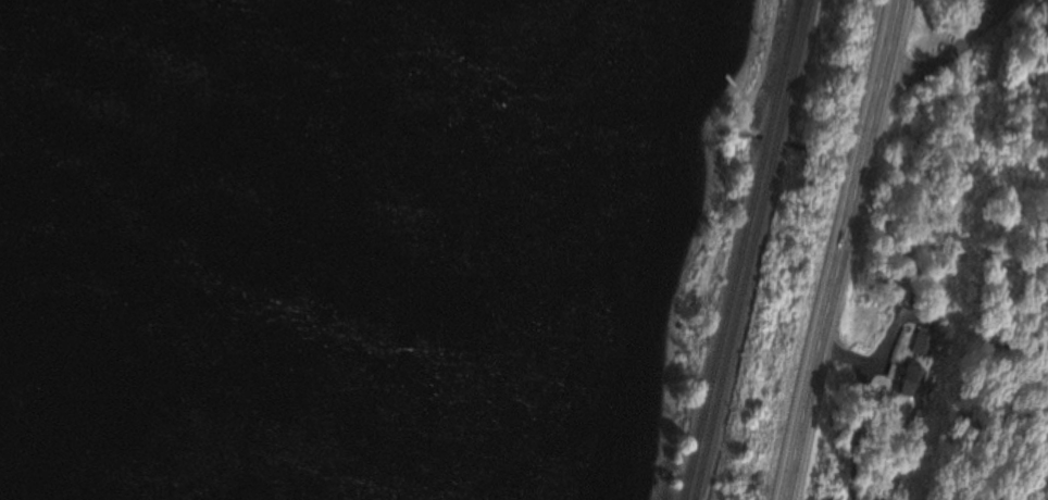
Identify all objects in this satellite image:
river: (340, 10)
road: (950, 50)
railway: (735, 249)
railway: (748, 249)
road: (839, 249)
river: (311, 260)
building: (925, 343)
building: (915, 383)

